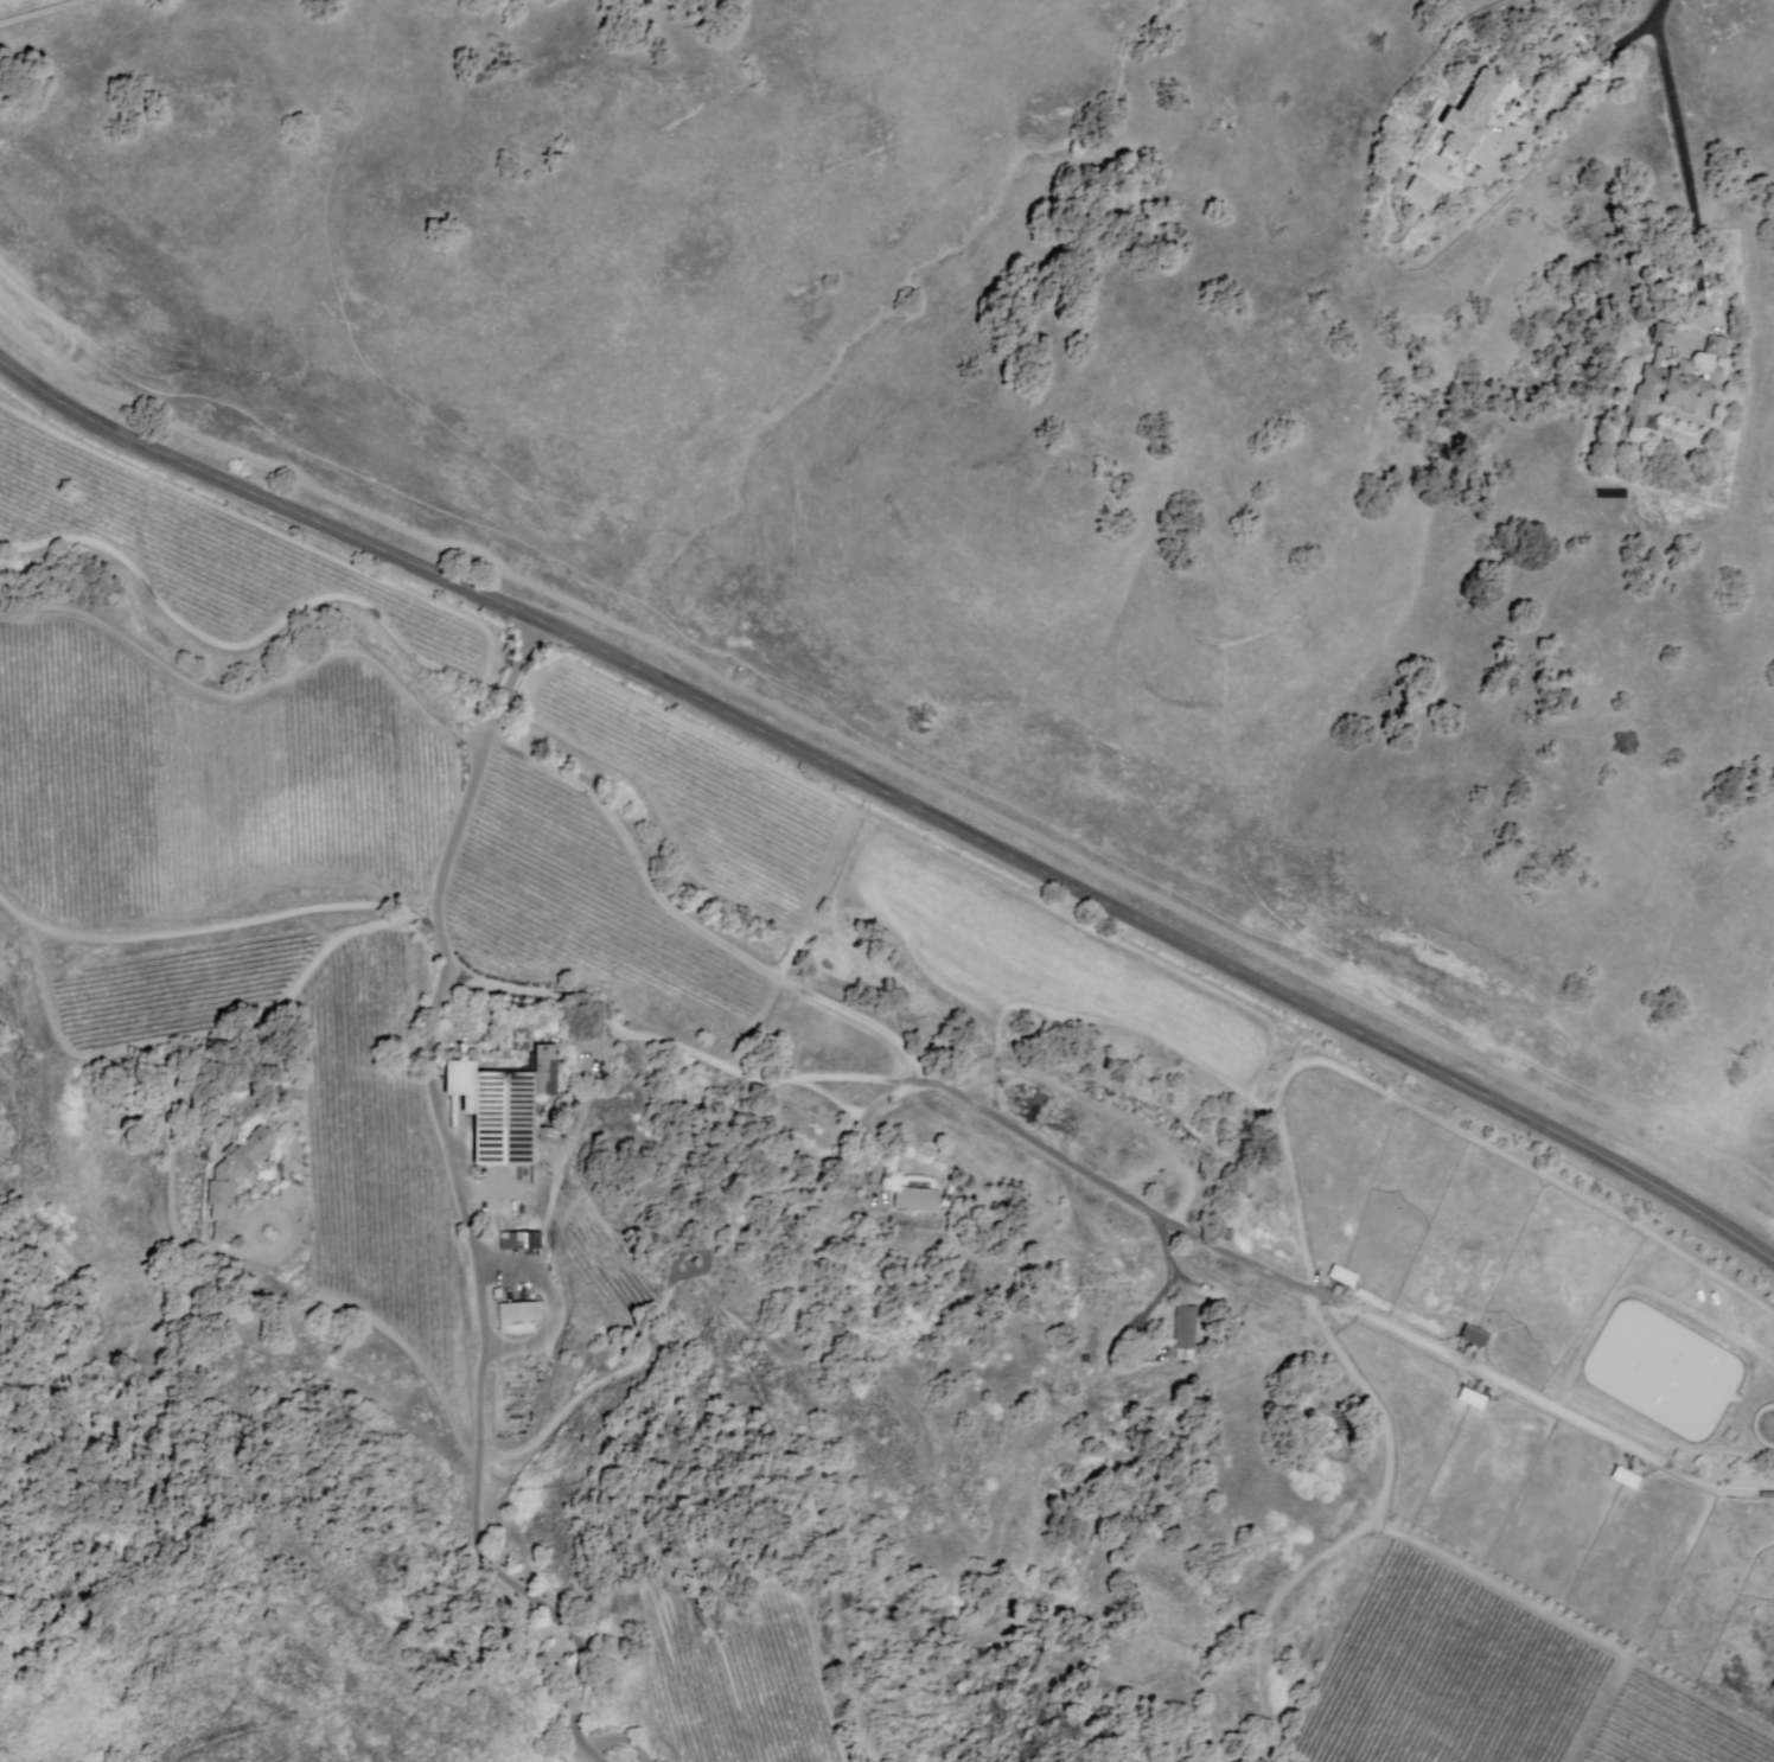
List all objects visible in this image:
road: (1658, 20)
road: (1583, 78)
building: (1474, 115)
building: (1421, 193)
road: (1692, 193)
building: (1718, 347)
building: (1674, 383)
road: (893, 799)
road: (701, 931)
road: (218, 1049)
building: (505, 1105)
building: (232, 1186)
road: (1116, 1193)
building: (915, 1199)
road: (464, 1204)
road: (1156, 1301)
building: (519, 1317)
building: (1188, 1328)
building: (1473, 1338)
building: (1472, 1399)
building: (1625, 1479)
road: (1360, 1537)

